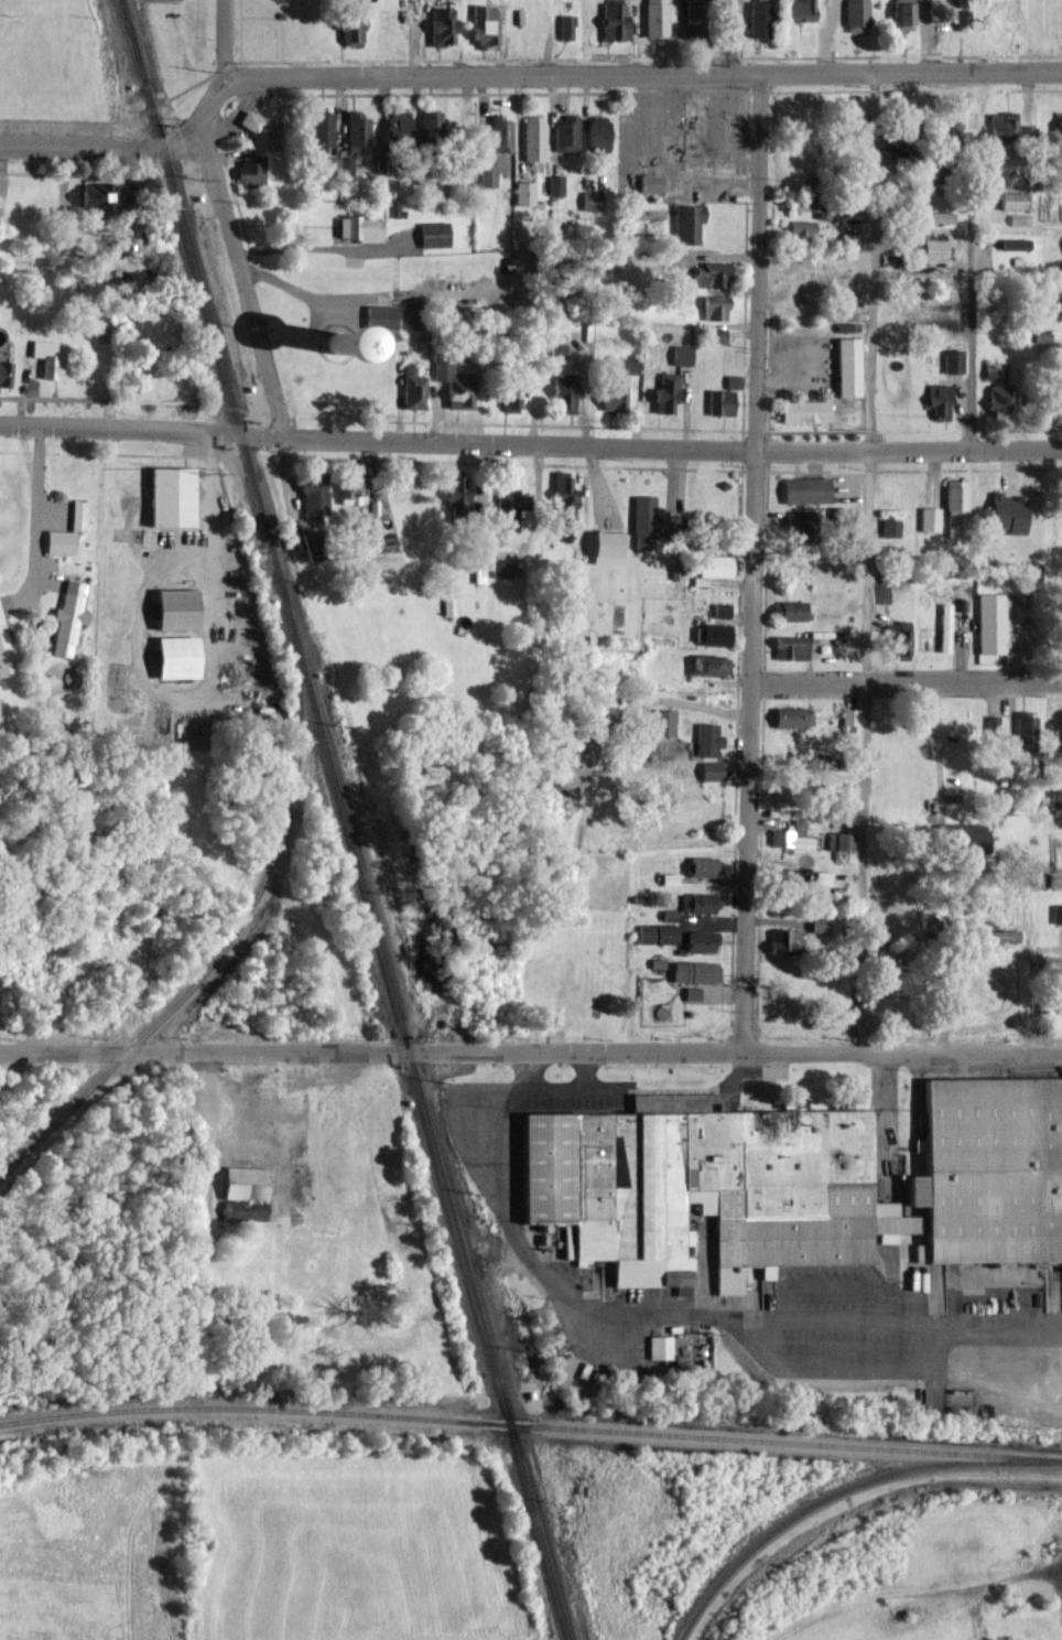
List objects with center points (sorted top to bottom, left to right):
building: (798, 10)
building: (903, 14)
building: (856, 15)
building: (691, 17)
building: (655, 18)
building: (758, 18)
building: (350, 21)
building: (613, 21)
building: (484, 24)
building: (441, 25)
building: (565, 25)
road: (730, 36)
railway: (131, 37)
road: (221, 39)
road: (510, 74)
building: (430, 119)
building: (249, 120)
building: (397, 123)
building: (1001, 125)
building: (955, 128)
building: (319, 129)
building: (1058, 129)
building: (356, 130)
building: (499, 132)
building: (597, 132)
building: (565, 133)
building: (532, 137)
building: (329, 162)
building: (345, 164)
building: (250, 173)
building: (487, 175)
building: (649, 182)
building: (555, 184)
building: (523, 192)
building: (101, 194)
building: (590, 199)
building: (1012, 199)
building: (933, 216)
building: (1017, 218)
building: (686, 223)
building: (358, 227)
building: (801, 230)
building: (433, 233)
building: (1014, 242)
building: (933, 248)
building: (709, 273)
road: (243, 282)
building: (714, 306)
building: (380, 315)
road: (969, 319)
building: (716, 334)
water tower: (314, 337)
building: (326, 338)
building: (557, 345)
building: (681, 354)
building: (47, 358)
building: (952, 359)
building: (628, 364)
building: (846, 368)
building: (4, 373)
building: (733, 380)
building: (452, 384)
building: (412, 387)
building: (999, 388)
building: (511, 390)
building: (664, 392)
building: (564, 393)
building: (611, 397)
building: (939, 399)
building: (719, 401)
building: (803, 410)
building: (1061, 416)
road: (530, 442)
road: (23, 444)
road: (37, 445)
building: (348, 487)
building: (455, 487)
building: (805, 489)
building: (313, 493)
building: (170, 495)
building: (506, 496)
building: (563, 497)
building: (955, 508)
building: (1007, 512)
building: (77, 514)
building: (930, 518)
building: (372, 522)
building: (646, 522)
road: (35, 526)
building: (889, 527)
building: (58, 541)
building: (606, 542)
road: (751, 563)
building: (714, 564)
road: (870, 564)
building: (499, 567)
building: (478, 573)
building: (174, 608)
building: (720, 609)
building: (789, 609)
building: (67, 617)
building: (989, 623)
building: (944, 627)
building: (713, 633)
building: (897, 637)
road: (136, 644)
building: (790, 647)
building: (4, 652)
building: (174, 656)
building: (708, 665)
road: (904, 681)
building: (848, 715)
building: (792, 716)
building: (662, 721)
building: (991, 724)
building: (1061, 726)
building: (1023, 727)
building: (706, 738)
road: (936, 743)
building: (711, 770)
railway: (347, 820)
building: (791, 835)
building: (960, 837)
building: (839, 843)
building: (704, 866)
building: (822, 876)
building: (669, 878)
building: (698, 902)
building: (1056, 913)
building: (817, 925)
railway: (238, 931)
building: (655, 932)
building: (701, 940)
building: (784, 942)
road: (1058, 949)
building: (694, 971)
building: (691, 992)
road: (204, 1054)
road: (735, 1054)
building: (792, 1179)
building: (243, 1193)
road: (204, 1196)
building: (659, 1347)
railway: (530, 1426)
railway: (817, 1500)
park: (94, 1551)

